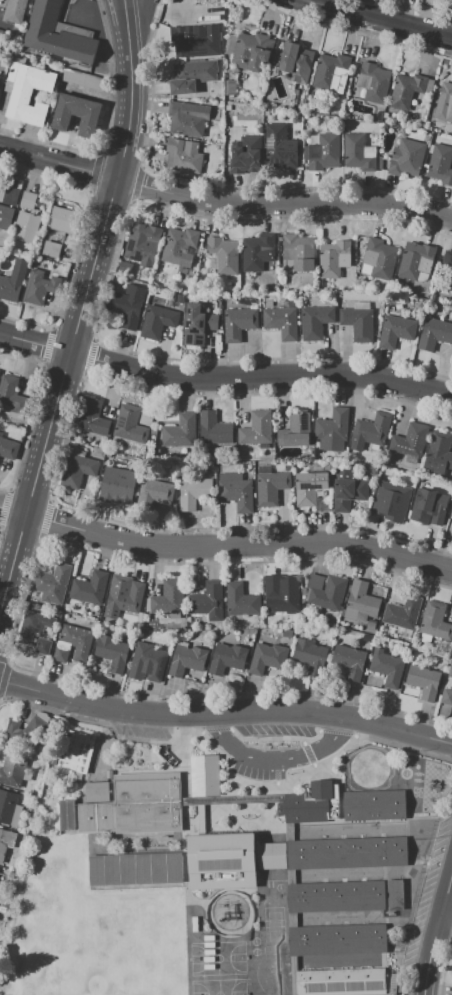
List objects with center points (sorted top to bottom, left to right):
building: (15, 11)
road: (377, 19)
building: (60, 34)
building: (1, 37)
building: (195, 40)
building: (249, 50)
building: (296, 62)
building: (331, 72)
building: (191, 76)
building: (82, 79)
building: (373, 82)
building: (408, 89)
building: (27, 93)
building: (444, 103)
building: (76, 114)
building: (385, 115)
building: (394, 116)
building: (188, 119)
building: (280, 147)
building: (358, 152)
building: (323, 153)
building: (246, 155)
building: (184, 157)
building: (407, 159)
building: (441, 164)
building: (10, 196)
building: (28, 201)
road: (223, 202)
building: (6, 217)
building: (64, 220)
building: (27, 226)
building: (143, 244)
building: (179, 247)
building: (51, 249)
building: (257, 252)
building: (299, 252)
building: (222, 256)
building: (333, 258)
building: (379, 259)
building: (416, 262)
building: (445, 272)
building: (38, 288)
building: (9, 289)
building: (179, 298)
building: (270, 303)
building: (127, 305)
road: (83, 310)
building: (282, 320)
building: (157, 321)
building: (315, 321)
building: (358, 322)
building: (239, 323)
building: (198, 324)
building: (397, 330)
building: (434, 333)
road: (224, 378)
building: (12, 396)
building: (92, 417)
building: (146, 417)
building: (130, 425)
building: (257, 428)
building: (372, 428)
building: (214, 429)
building: (332, 430)
building: (295, 431)
building: (180, 432)
building: (410, 442)
building: (8, 448)
building: (99, 452)
building: (438, 454)
building: (329, 465)
building: (318, 466)
building: (77, 469)
building: (121, 483)
building: (270, 486)
building: (309, 488)
building: (347, 490)
building: (160, 491)
building: (194, 491)
building: (236, 491)
building: (391, 501)
building: (428, 506)
building: (451, 514)
road: (224, 545)
building: (51, 583)
building: (89, 588)
building: (325, 592)
building: (122, 596)
building: (167, 596)
building: (282, 597)
building: (240, 600)
building: (207, 601)
building: (361, 602)
building: (403, 612)
building: (435, 620)
building: (33, 626)
building: (73, 643)
building: (43, 646)
building: (112, 652)
building: (310, 656)
building: (227, 658)
building: (268, 659)
building: (150, 660)
building: (186, 660)
building: (349, 660)
building: (387, 667)
building: (450, 671)
building: (423, 681)
building: (446, 696)
road: (225, 713)
parking lot: (141, 731)
parking lot: (277, 731)
building: (18, 736)
building: (75, 751)
road: (275, 760)
building: (13, 768)
parking lot: (258, 772)
building: (109, 774)
building: (205, 776)
building: (96, 791)
building: (147, 802)
building: (309, 802)
building: (374, 805)
building: (9, 808)
building: (66, 815)
building: (95, 817)
building: (6, 841)
building: (347, 854)
building: (272, 856)
building: (222, 861)
building: (135, 868)
parking lot: (426, 892)
building: (394, 894)
building: (335, 896)
road: (447, 914)
road: (435, 935)
building: (337, 939)
park: (218, 958)
building: (451, 972)
building: (340, 981)
park: (219, 987)

